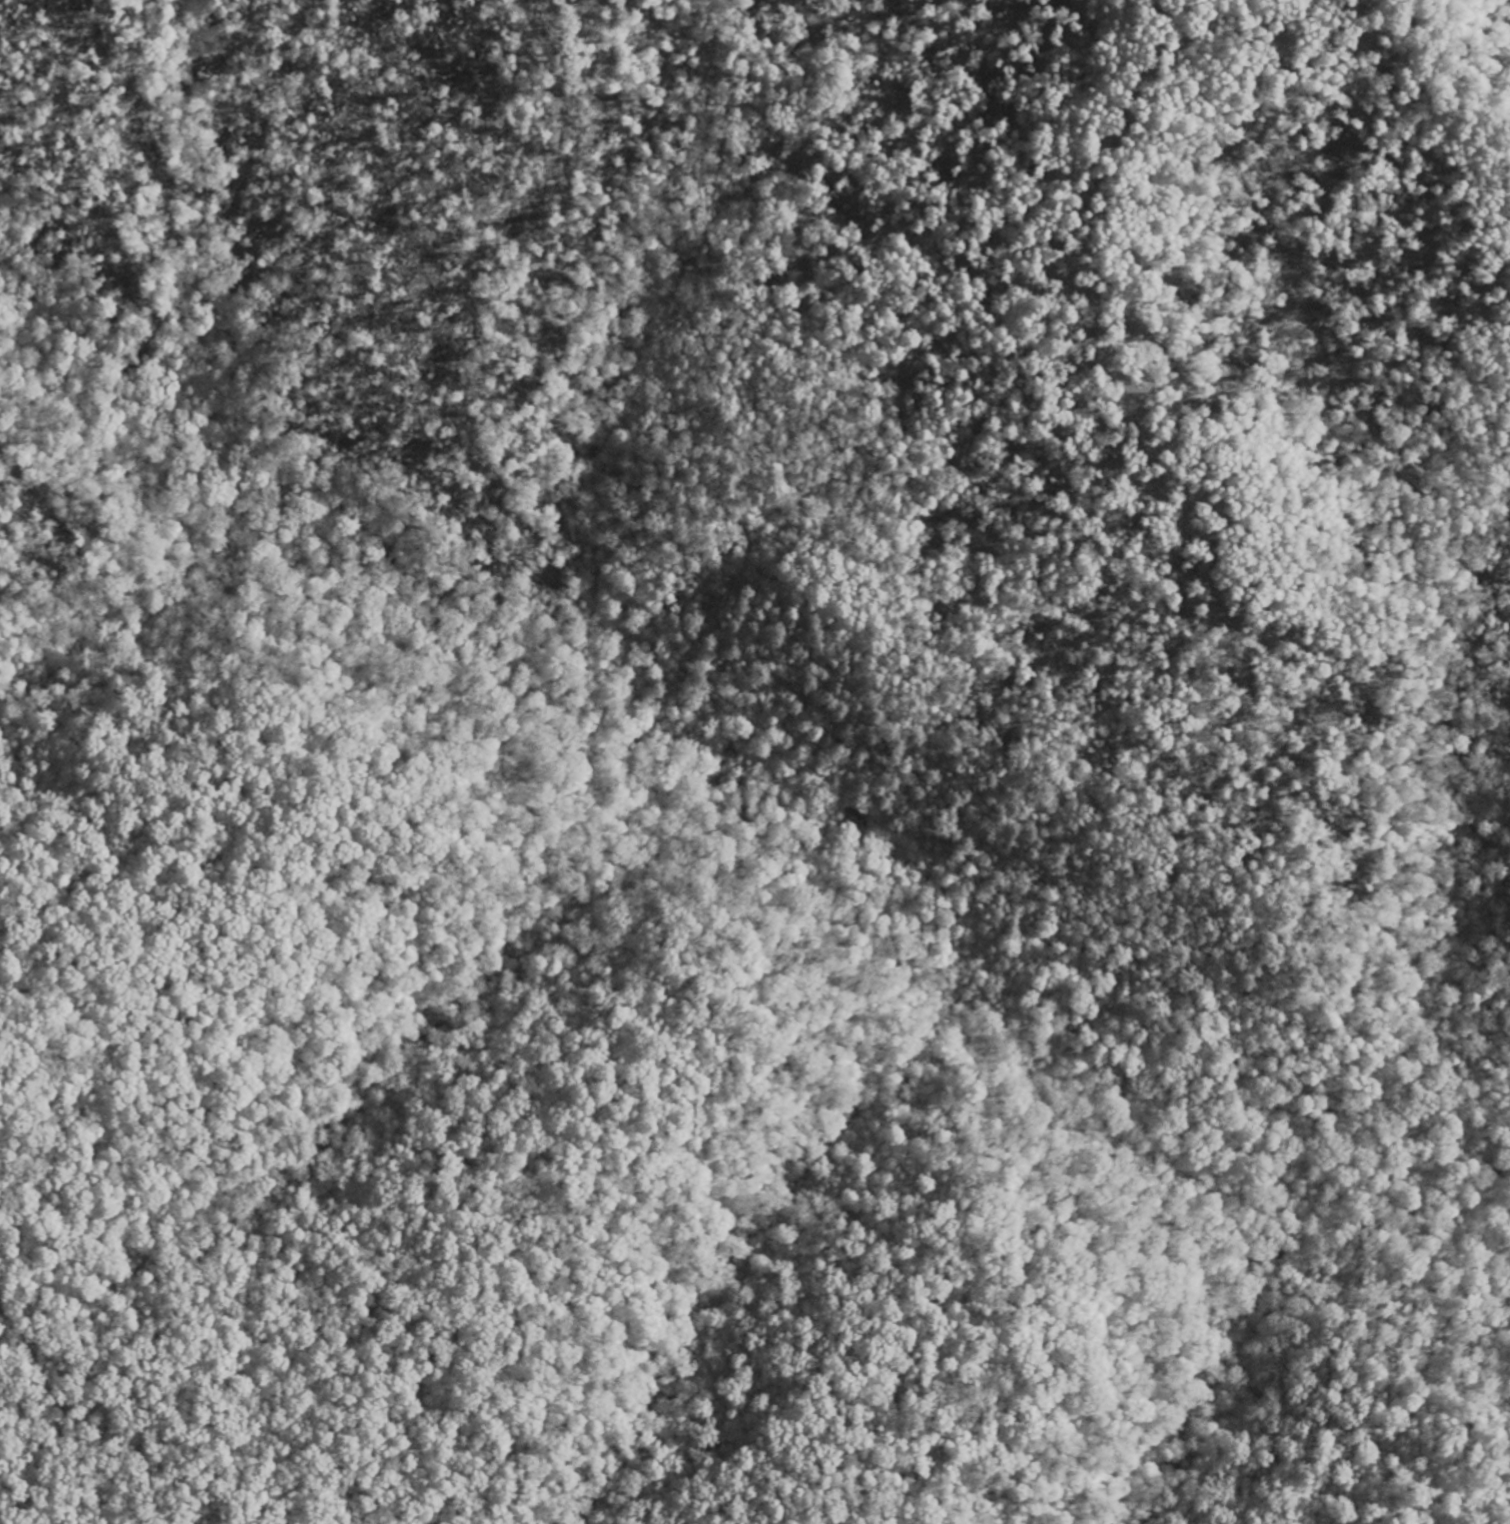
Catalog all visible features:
road: (60, 1416)

